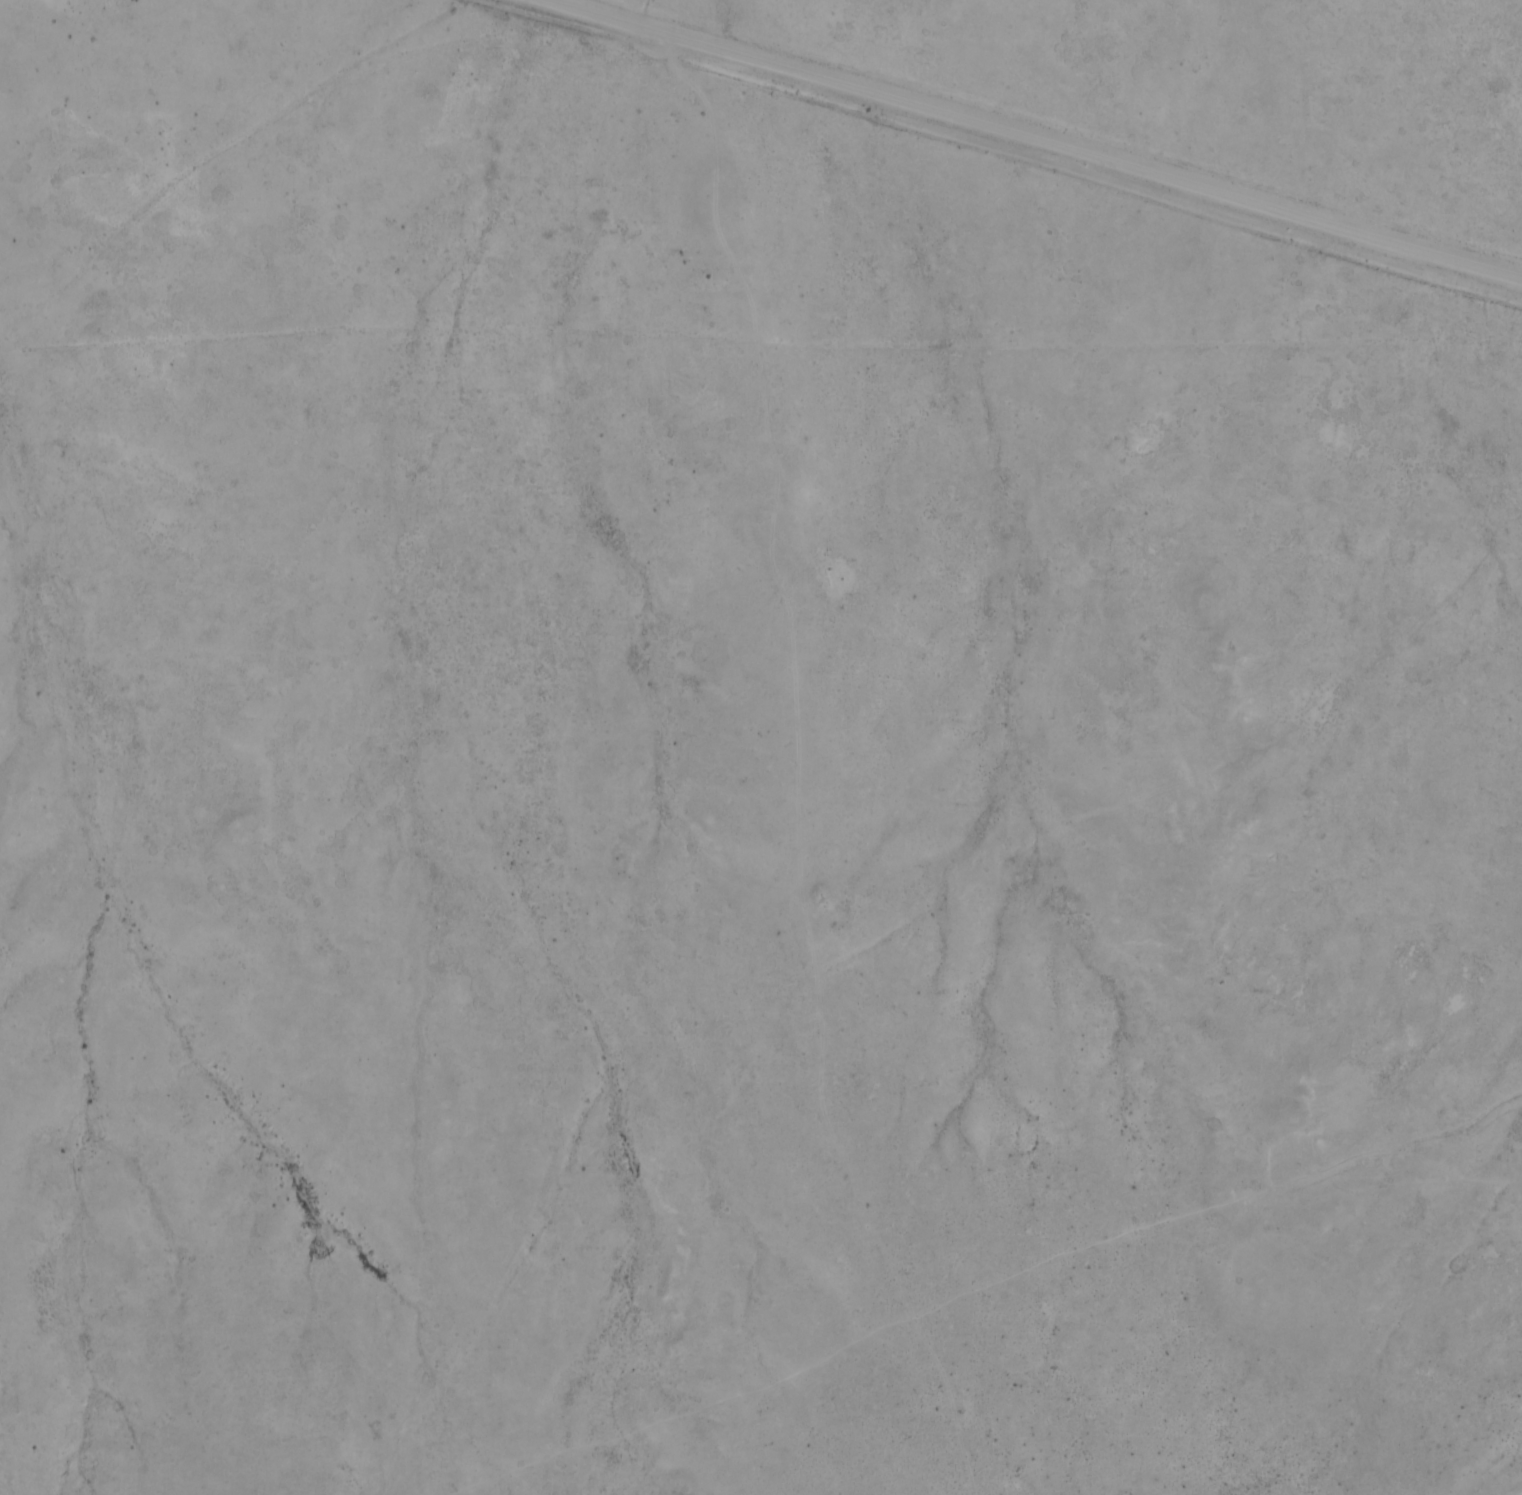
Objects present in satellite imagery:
road: (1038, 137)

